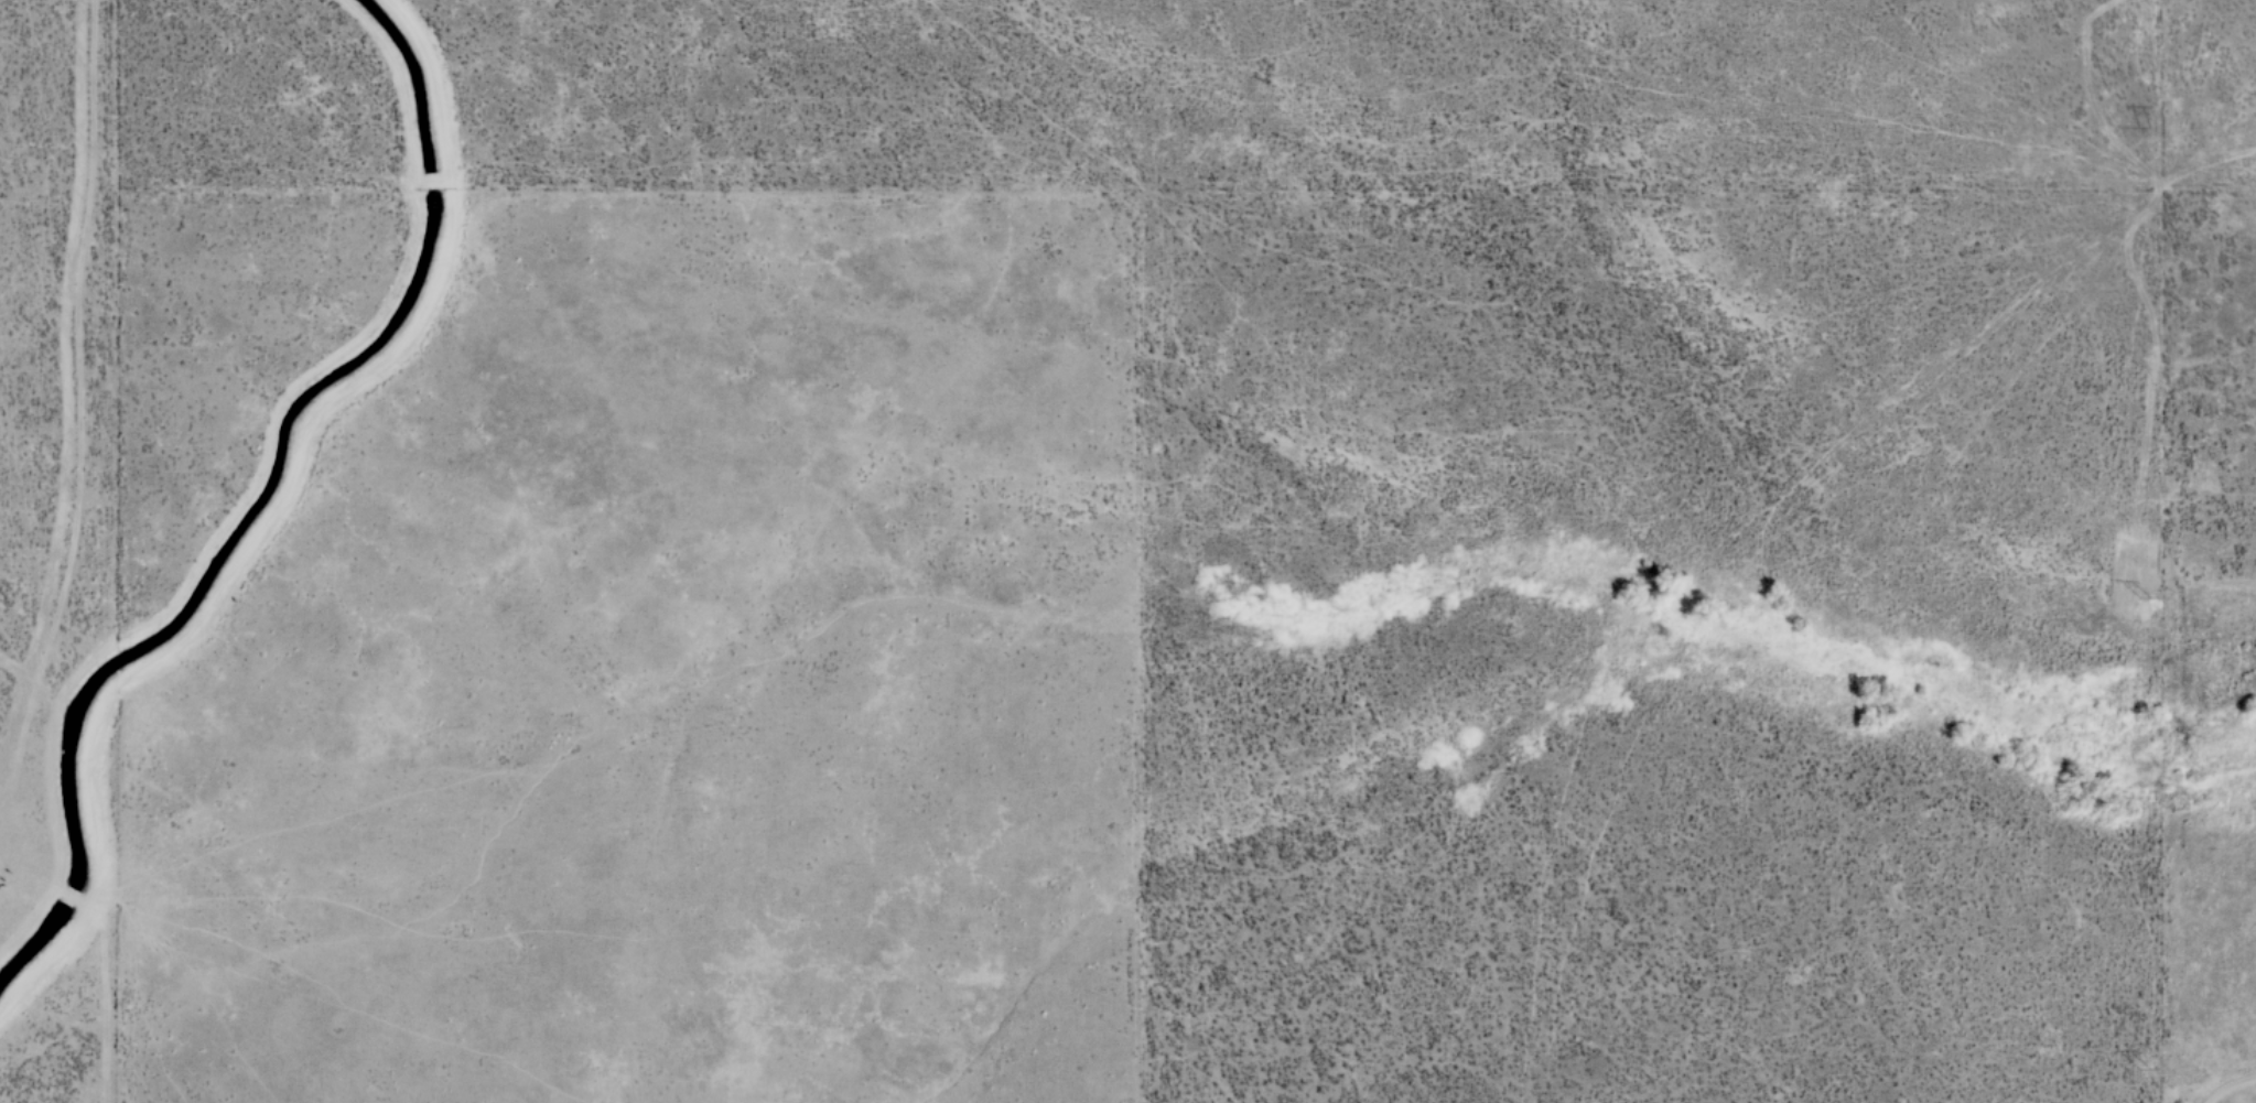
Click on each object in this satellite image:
power tower: (2145, 122)
power tower: (2144, 595)
power tower: (2146, 1061)
road: (2231, 1090)

